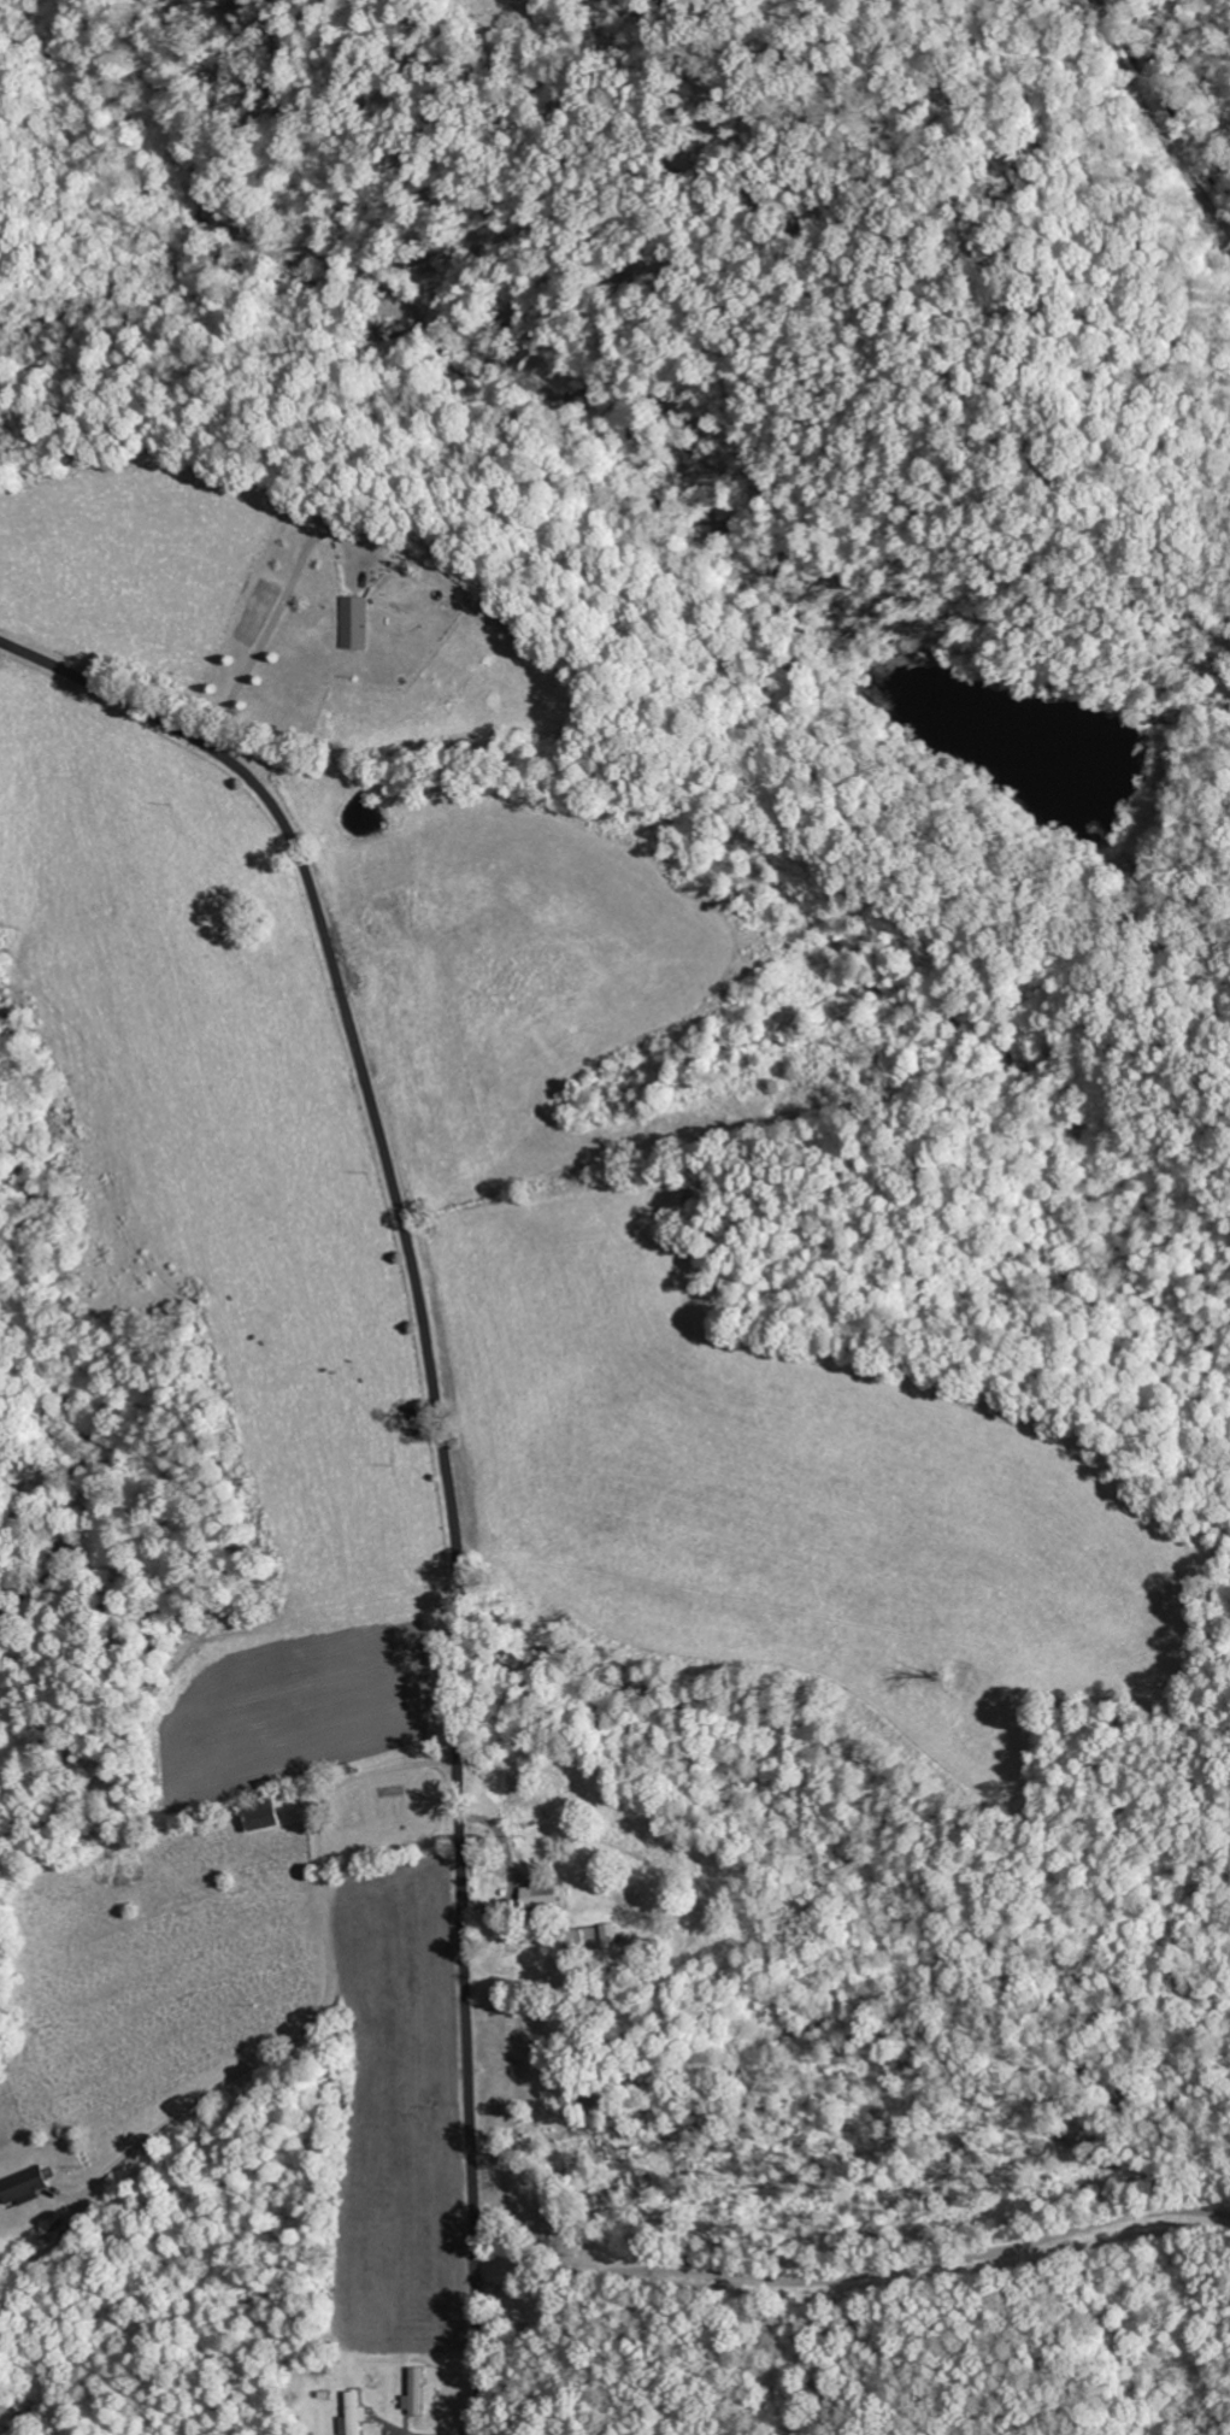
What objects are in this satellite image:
building: (355, 622)
road: (442, 1448)
road: (843, 1684)
building: (261, 1815)
building: (541, 1893)
road: (328, 1919)
building: (608, 1934)
building: (24, 2183)
building: (412, 2392)
building: (353, 2412)

